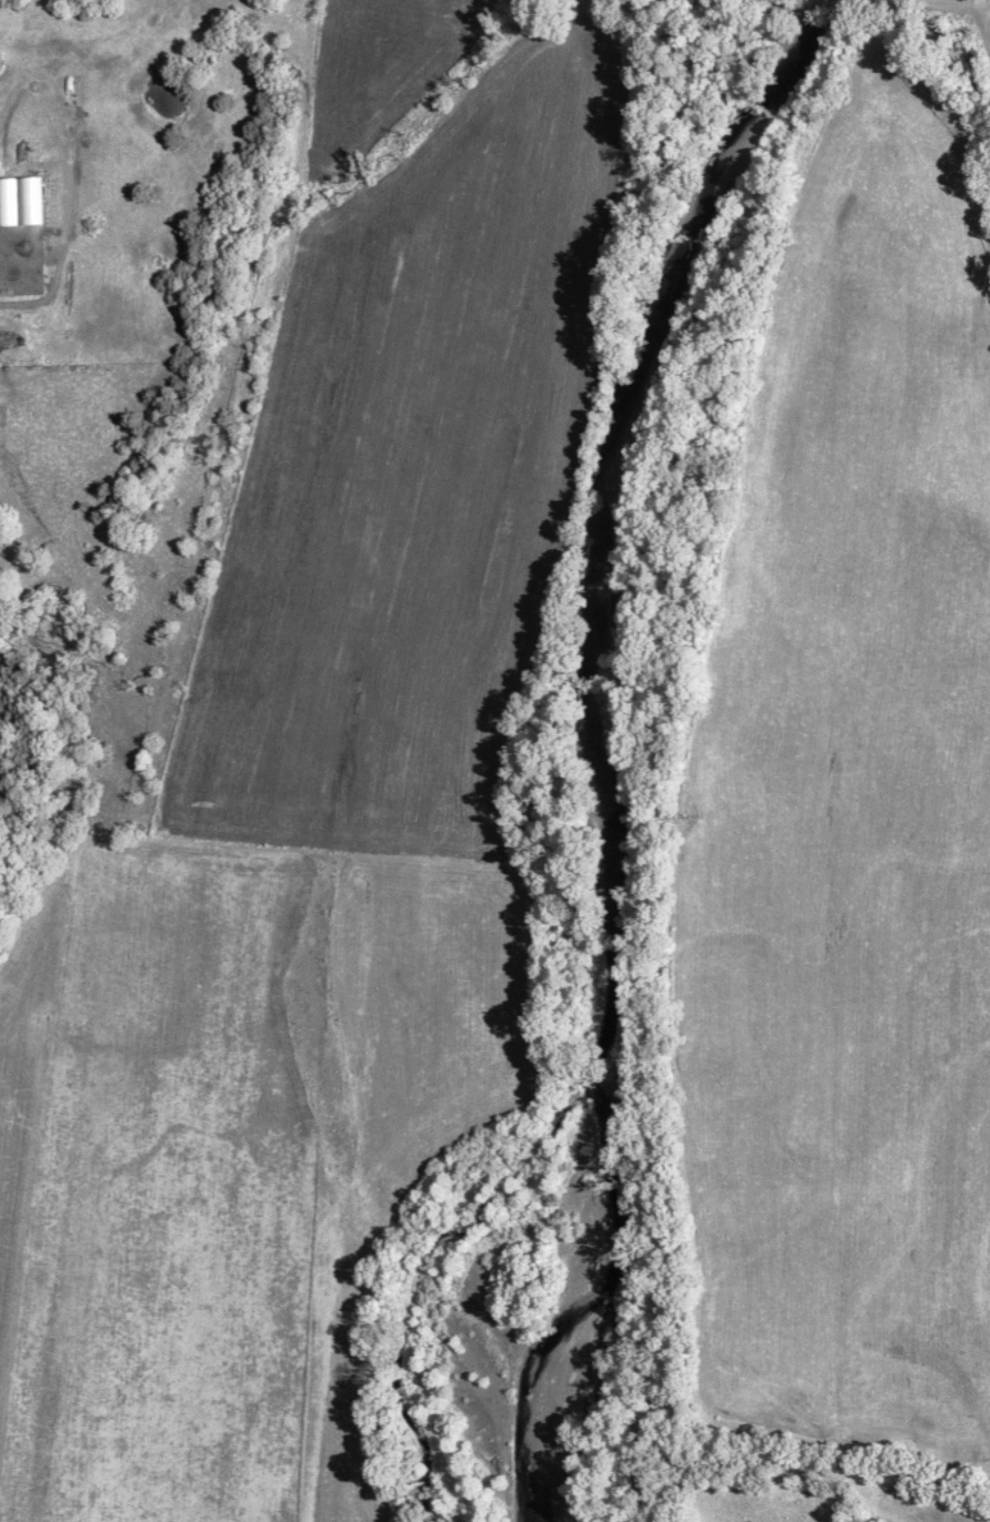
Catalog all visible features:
road: (821, 0)
road: (915, 1)
road: (985, 12)

